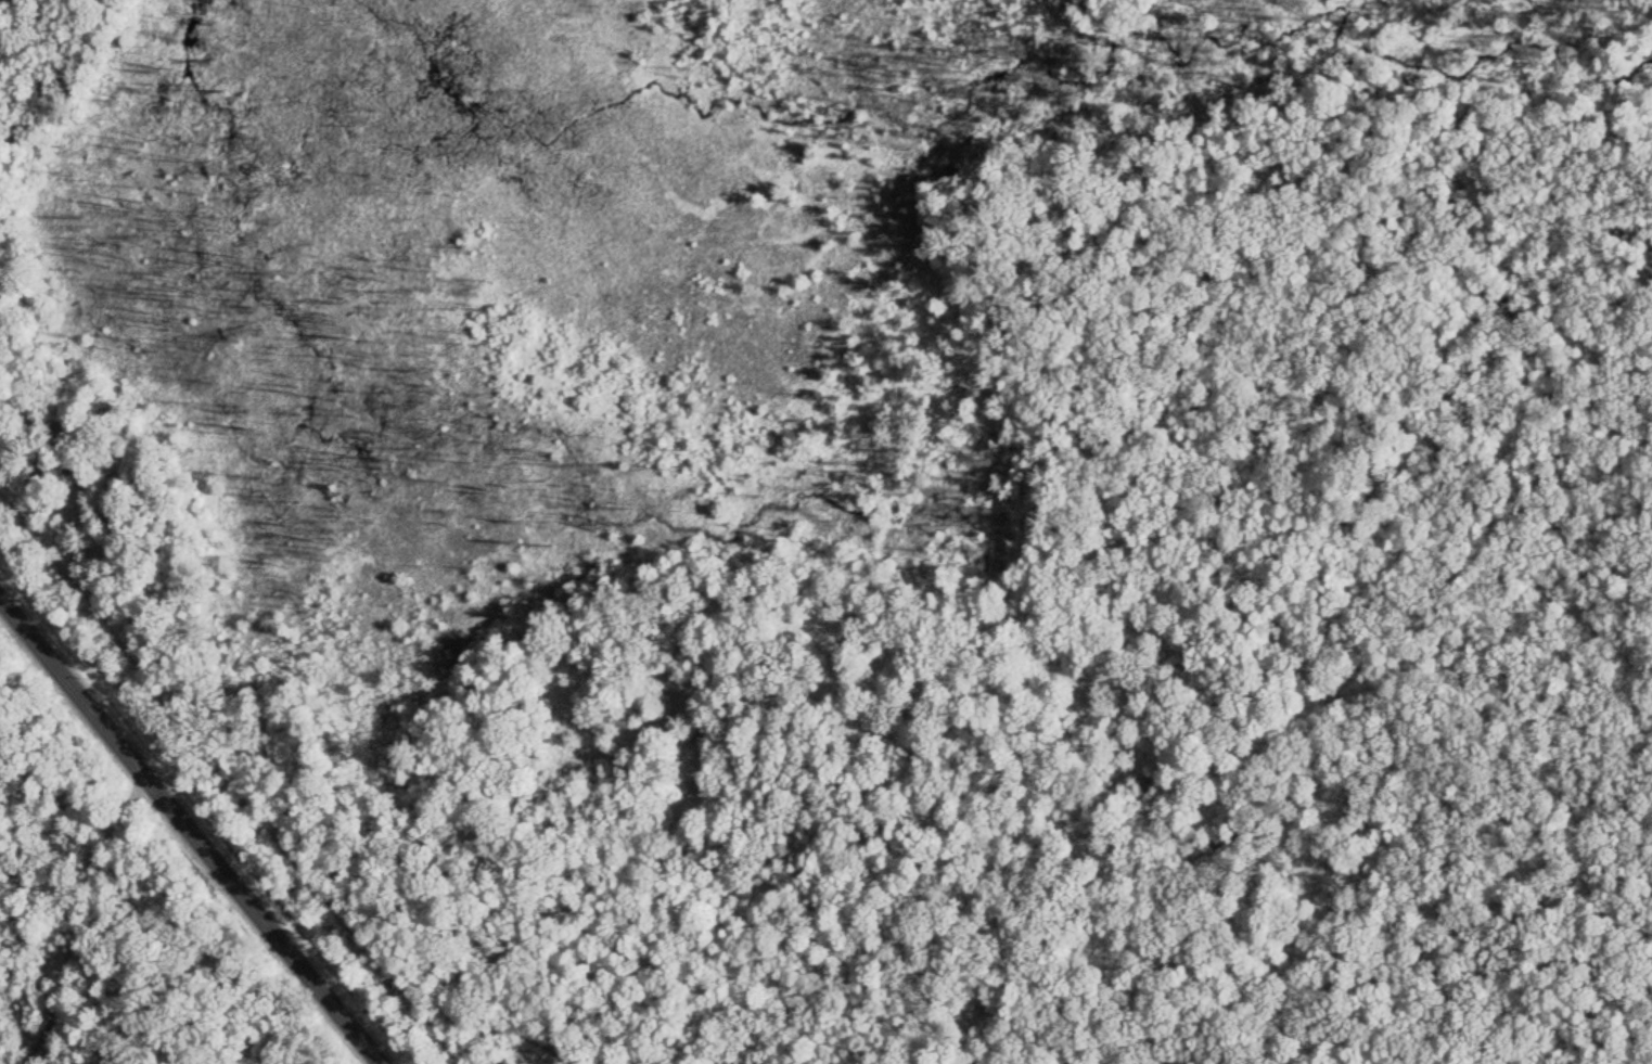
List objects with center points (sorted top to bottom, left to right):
road: (190, 831)

